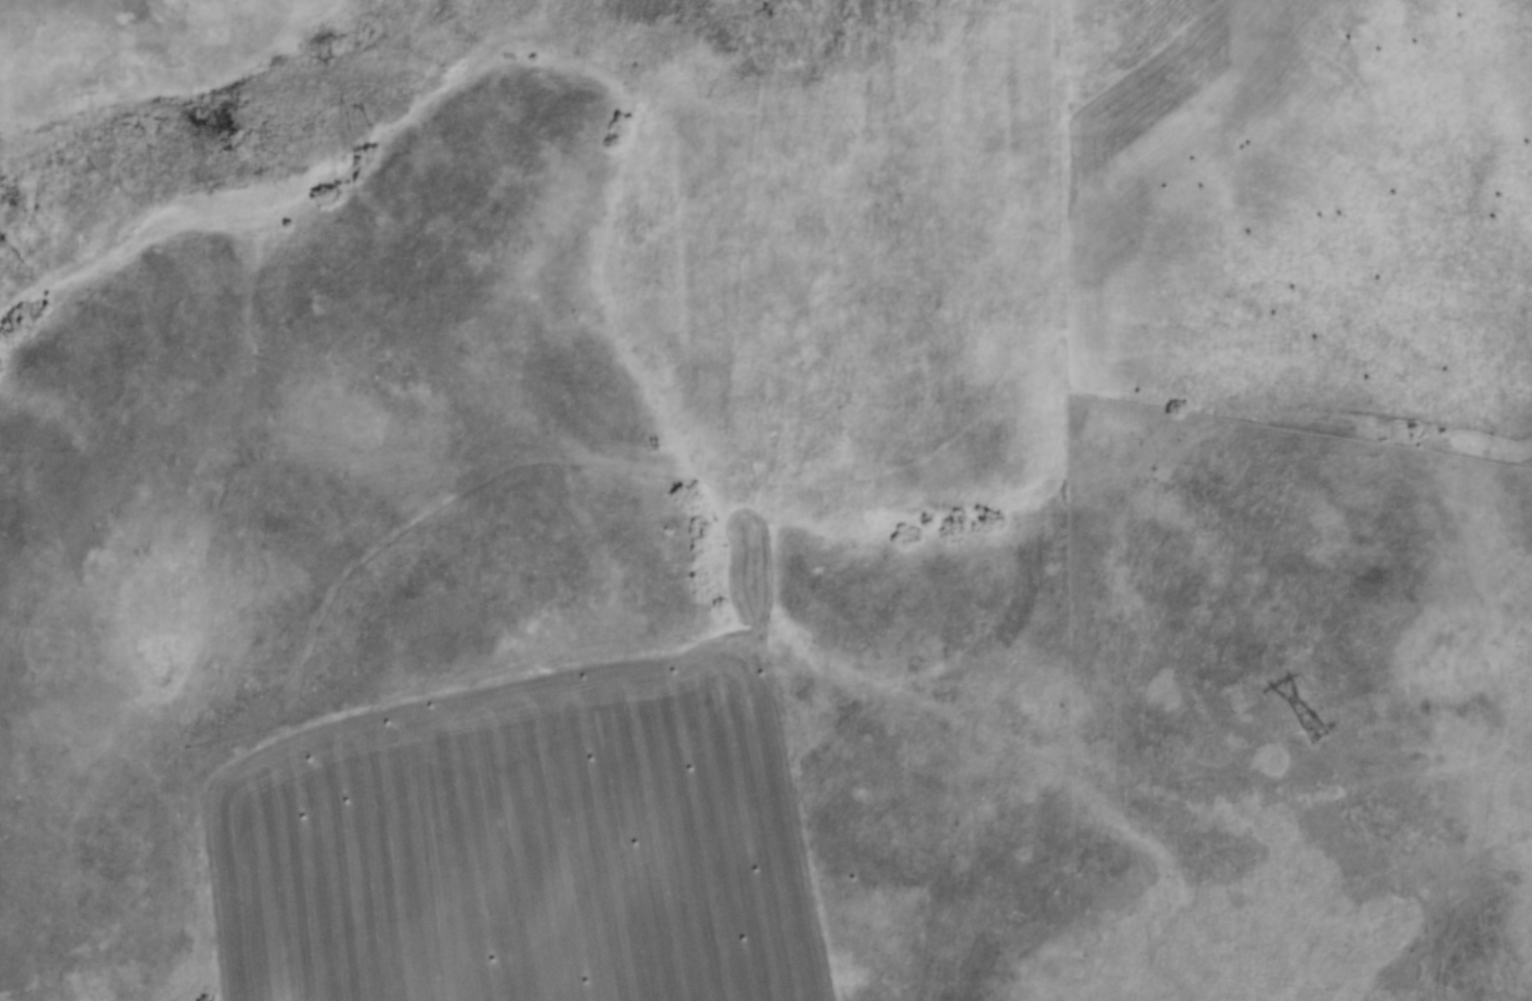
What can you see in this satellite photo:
crop: (1305, 209)
power tower: (1315, 737)

